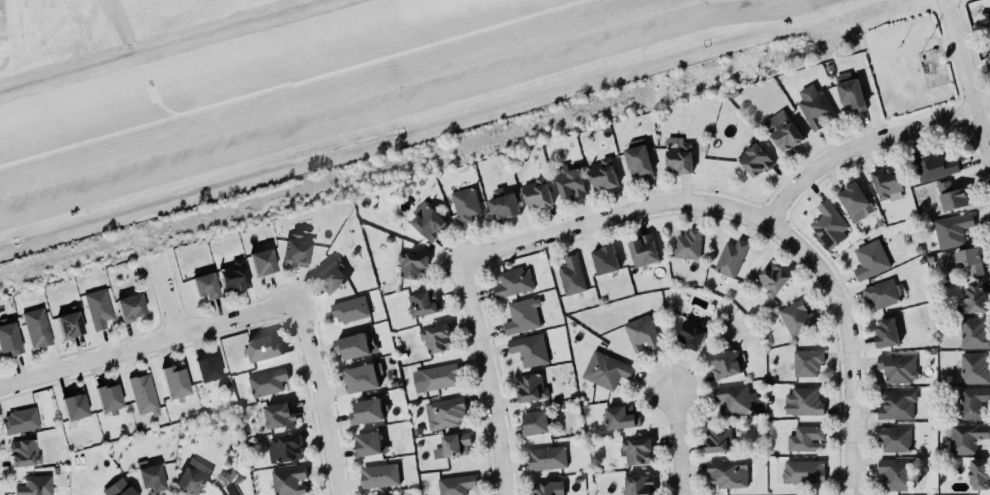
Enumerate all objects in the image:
road: (112, 4)
building: (989, 47)
building: (988, 61)
road: (967, 68)
building: (849, 92)
building: (815, 107)
building: (781, 130)
road: (865, 144)
building: (678, 155)
building: (753, 159)
building: (638, 160)
building: (930, 163)
building: (602, 174)
building: (570, 181)
building: (887, 184)
building: (537, 193)
building: (952, 196)
building: (853, 200)
building: (501, 203)
building: (464, 204)
building: (426, 220)
building: (826, 222)
building: (952, 230)
building: (688, 244)
building: (642, 249)
road: (495, 250)
building: (296, 251)
building: (731, 258)
building: (868, 258)
building: (605, 259)
building: (968, 259)
building: (410, 260)
building: (261, 261)
building: (329, 273)
building: (570, 275)
building: (233, 276)
building: (773, 278)
building: (203, 281)
building: (510, 281)
building: (884, 293)
building: (974, 297)
road: (166, 298)
building: (421, 302)
building: (128, 307)
building: (348, 308)
building: (98, 309)
building: (521, 315)
building: (797, 317)
building: (69, 325)
building: (36, 328)
building: (691, 332)
building: (974, 332)
building: (886, 333)
building: (642, 334)
building: (436, 338)
building: (8, 339)
road: (846, 343)
road: (146, 344)
building: (353, 345)
building: (261, 348)
building: (528, 349)
building: (807, 362)
building: (725, 364)
building: (895, 367)
building: (207, 368)
building: (974, 368)
building: (604, 369)
building: (439, 373)
building: (358, 377)
building: (173, 382)
building: (265, 382)
building: (531, 387)
building: (143, 395)
building: (107, 398)
road: (320, 398)
building: (733, 399)
building: (803, 401)
building: (971, 402)
building: (897, 404)
building: (74, 407)
building: (367, 411)
building: (443, 411)
building: (280, 415)
building: (620, 416)
building: (533, 418)
building: (19, 420)
building: (965, 437)
building: (805, 438)
building: (718, 439)
building: (894, 439)
building: (369, 443)
road: (675, 443)
building: (456, 445)
building: (283, 447)
building: (635, 450)
building: (24, 453)
building: (546, 458)
building: (803, 471)
building: (727, 473)
building: (895, 474)
building: (979, 474)
building: (379, 475)
building: (149, 476)
building: (192, 477)
building: (287, 479)
building: (454, 484)
building: (35, 485)
building: (638, 485)
building: (547, 488)
building: (126, 491)
building: (391, 494)

